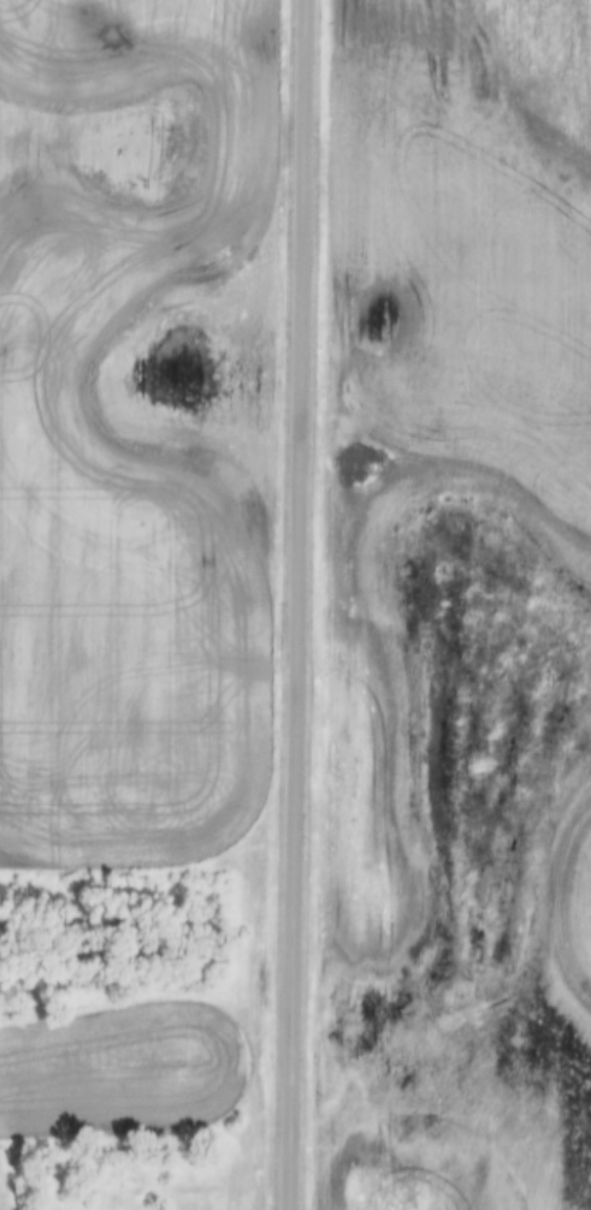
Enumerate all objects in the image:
road: (295, 605)

